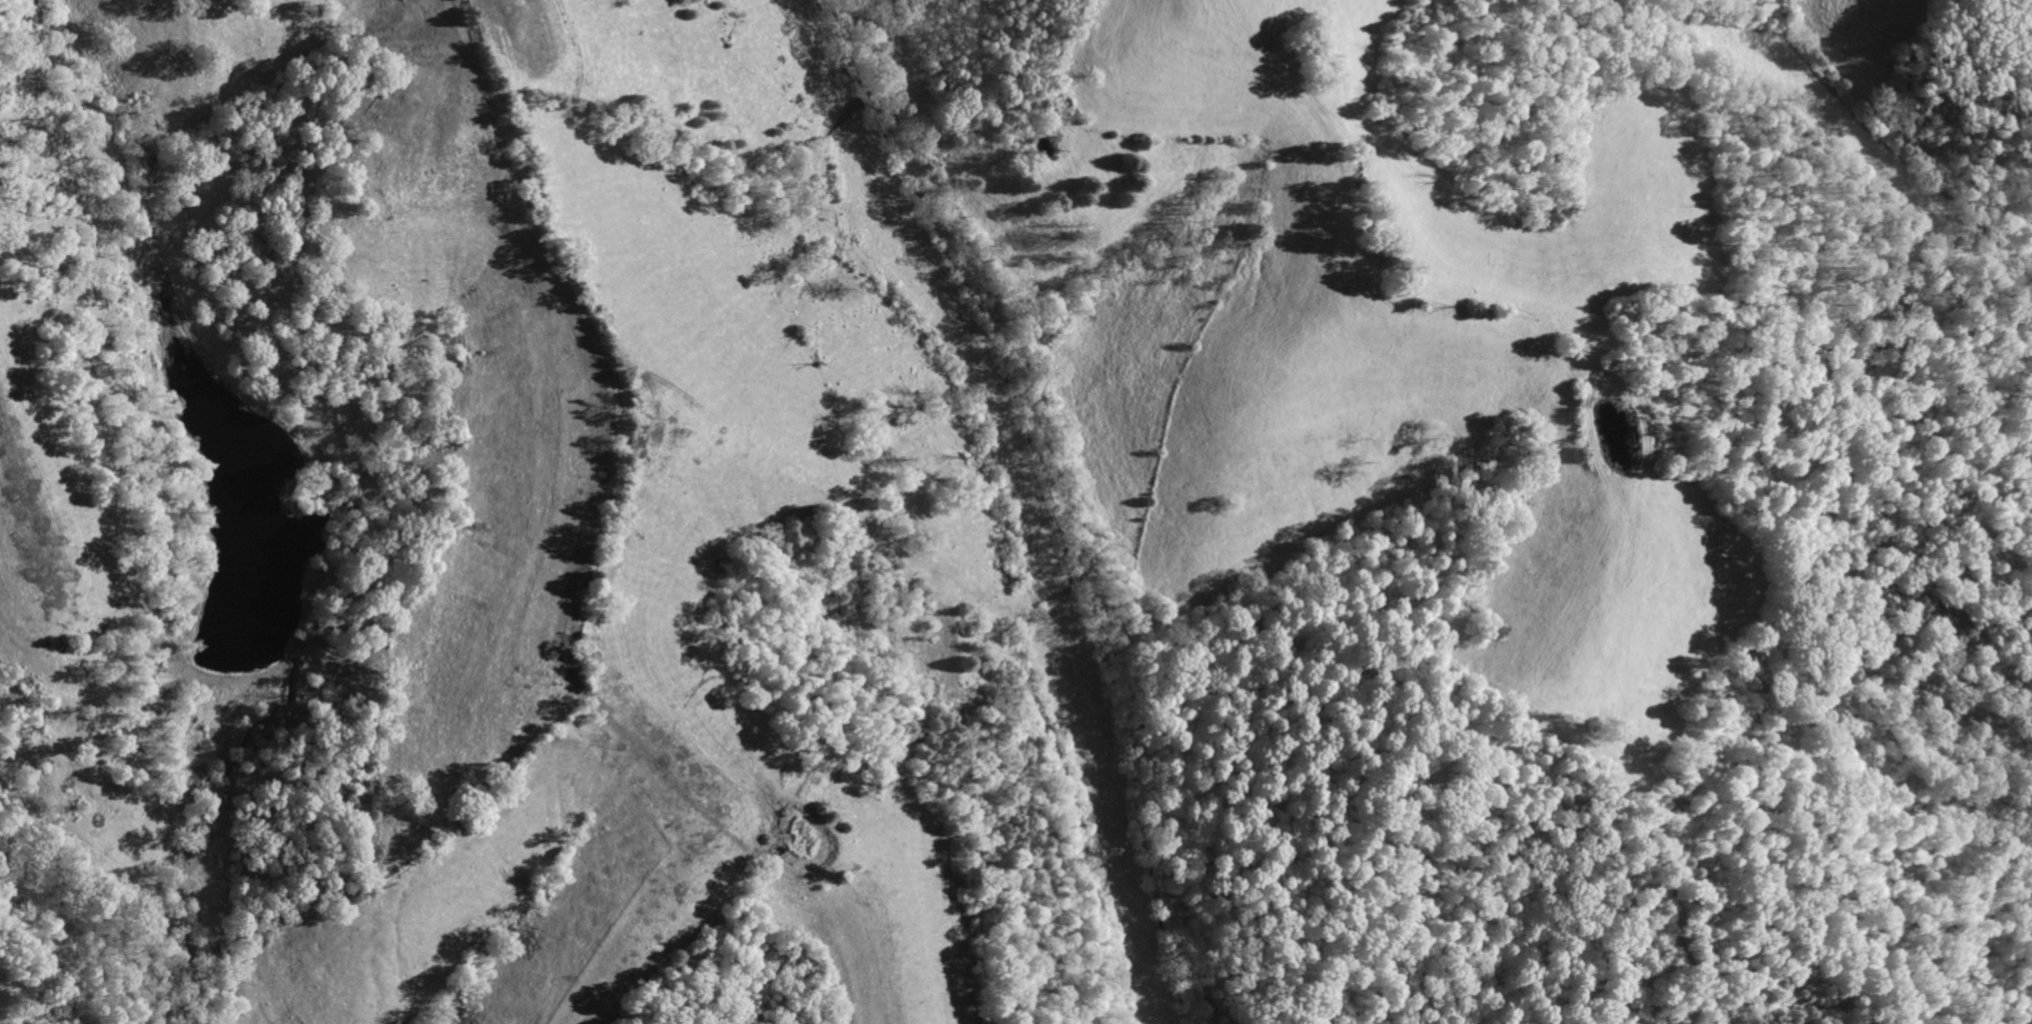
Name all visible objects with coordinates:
road: (601, 425)

